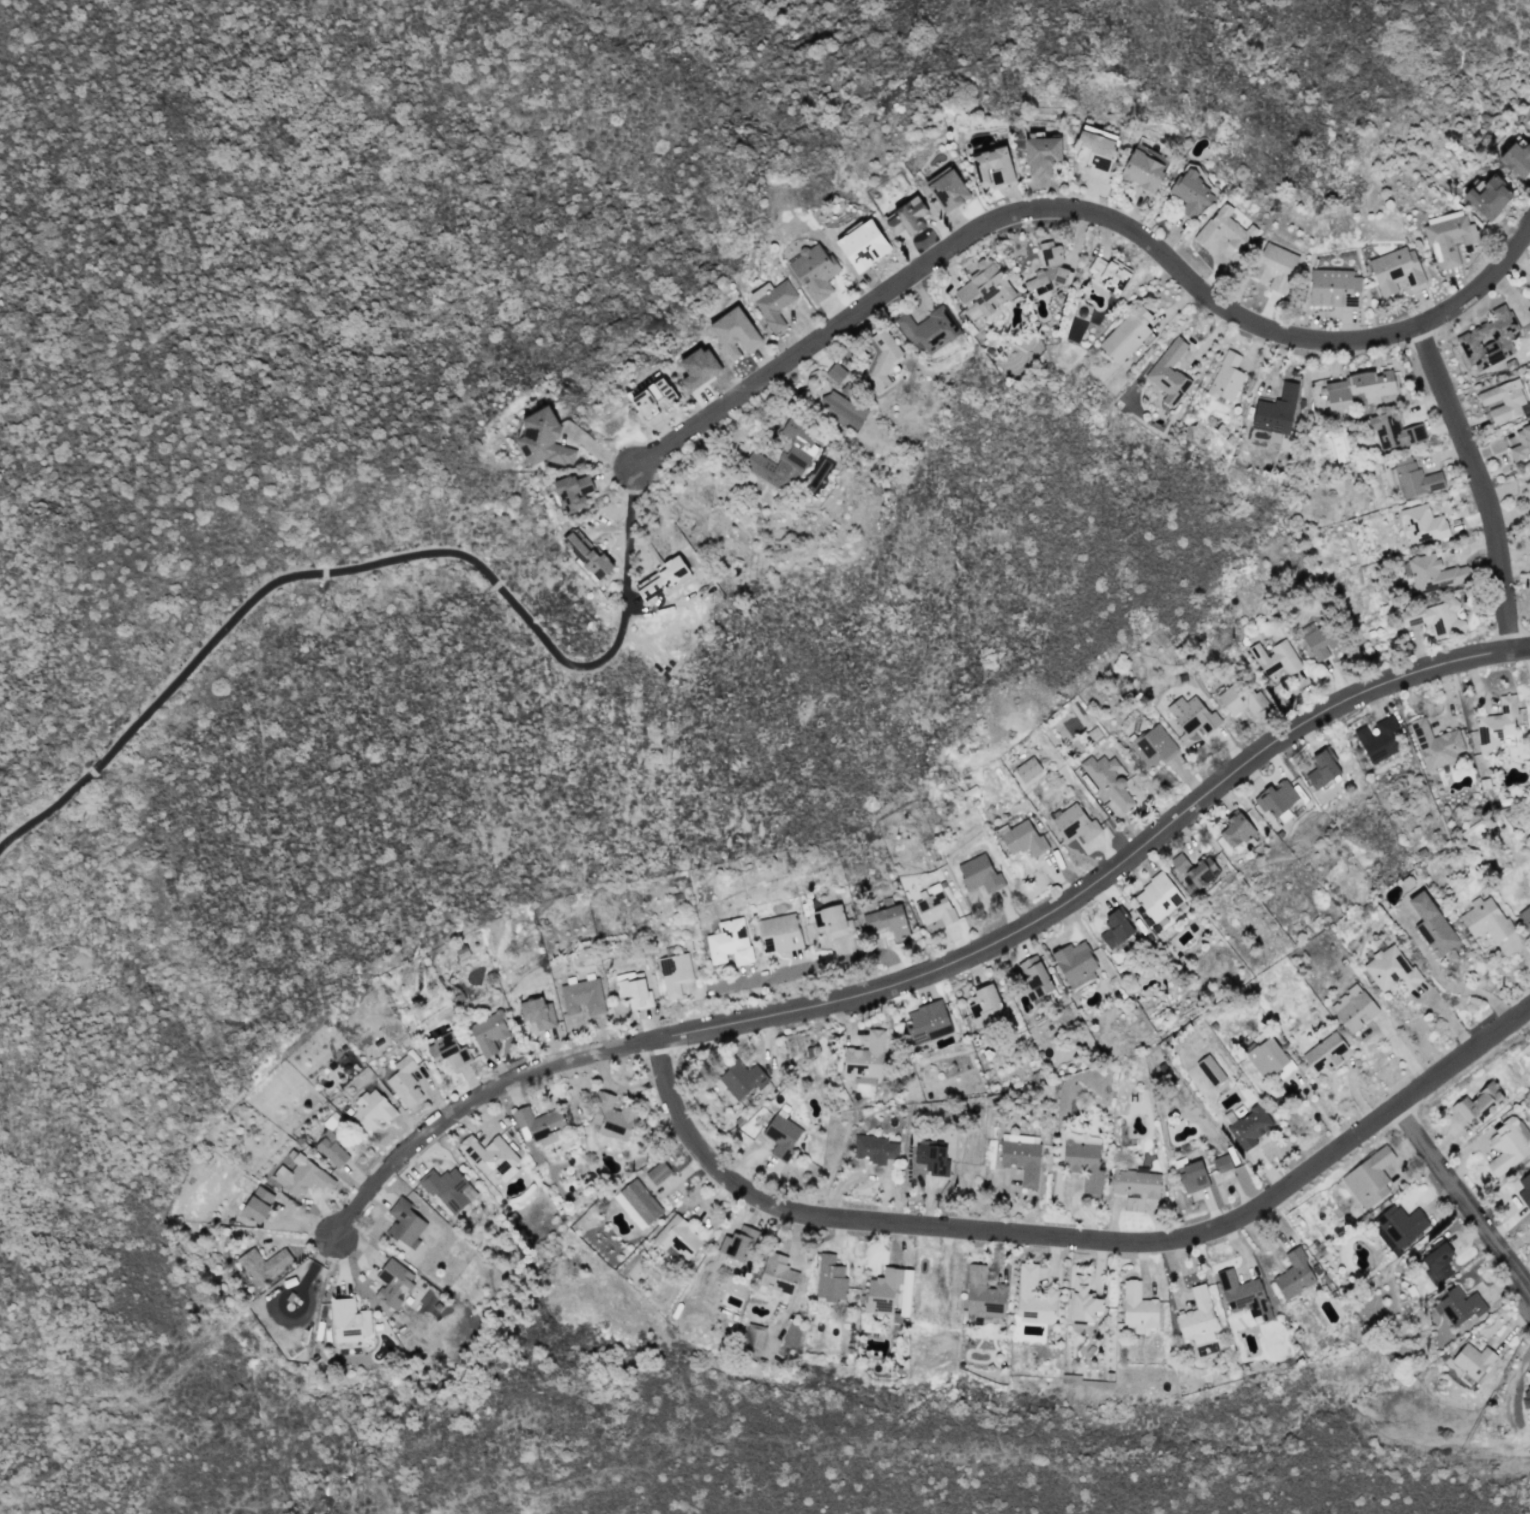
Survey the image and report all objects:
building: (1093, 148)
building: (1041, 156)
building: (1516, 158)
building: (992, 167)
building: (1141, 171)
building: (948, 189)
building: (1191, 192)
building: (1488, 197)
road: (1085, 213)
building: (905, 217)
building: (1224, 230)
building: (1448, 237)
building: (862, 244)
building: (1274, 267)
building: (813, 270)
building: (1395, 270)
building: (1048, 271)
building: (1107, 273)
building: (1333, 288)
building: (982, 289)
building: (772, 303)
building: (928, 329)
building: (734, 333)
building: (1126, 334)
building: (1489, 339)
building: (880, 360)
building: (697, 368)
building: (835, 373)
building: (1168, 373)
building: (1226, 377)
building: (1357, 388)
building: (649, 393)
building: (1503, 400)
building: (841, 410)
building: (1275, 411)
building: (1390, 430)
building: (542, 439)
building: (1521, 443)
building: (783, 458)
building: (1414, 478)
road: (1481, 483)
building: (571, 492)
building: (1421, 524)
building: (1528, 534)
building: (585, 554)
building: (1434, 573)
building: (660, 579)
building: (1434, 618)
road: (618, 628)
building: (1317, 640)
building: (1274, 658)
building: (1240, 699)
building: (1192, 716)
building: (1496, 725)
building: (1377, 740)
building: (1435, 744)
building: (1152, 746)
building: (1321, 769)
building: (1026, 772)
building: (1106, 780)
building: (1276, 799)
building: (1073, 824)
building: (1238, 832)
building: (1021, 839)
building: (1193, 869)
building: (979, 874)
building: (1157, 897)
building: (933, 905)
building: (1525, 916)
building: (1485, 919)
building: (831, 921)
building: (886, 921)
building: (1431, 925)
building: (1114, 929)
building: (778, 933)
building: (729, 942)
building: (1074, 963)
road: (806, 966)
building: (1391, 970)
road: (941, 972)
building: (674, 974)
building: (1033, 978)
road: (1470, 989)
building: (633, 990)
building: (582, 997)
building: (984, 1003)
building: (1353, 1008)
building: (537, 1013)
road: (1446, 1014)
building: (927, 1022)
building: (488, 1032)
building: (446, 1049)
road: (1403, 1051)
building: (1324, 1053)
building: (865, 1057)
building: (1265, 1057)
building: (1210, 1070)
building: (1284, 1070)
building: (740, 1079)
building: (404, 1082)
building: (1479, 1103)
building: (371, 1110)
road: (1316, 1111)
building: (611, 1116)
building: (538, 1123)
building: (1249, 1127)
building: (781, 1136)
building: (1507, 1146)
building: (330, 1148)
building: (874, 1149)
building: (490, 1157)
building: (1021, 1157)
building: (931, 1158)
building: (1083, 1160)
building: (1222, 1163)
building: (657, 1172)
building: (301, 1176)
building: (1192, 1177)
building: (1368, 1178)
building: (1135, 1187)
building: (448, 1189)
building: (1525, 1189)
road: (1462, 1199)
building: (637, 1203)
building: (256, 1204)
building: (404, 1224)
building: (1399, 1226)
building: (677, 1237)
road: (1082, 1240)
building: (736, 1245)
building: (1437, 1262)
building: (262, 1265)
building: (1293, 1274)
building: (829, 1279)
building: (392, 1283)
building: (888, 1293)
building: (983, 1294)
building: (1243, 1295)
building: (1033, 1298)
building: (1083, 1300)
building: (1138, 1306)
building: (1459, 1306)
building: (1197, 1314)
building: (348, 1321)
building: (753, 1337)
building: (1472, 1360)
building: (1526, 1399)

